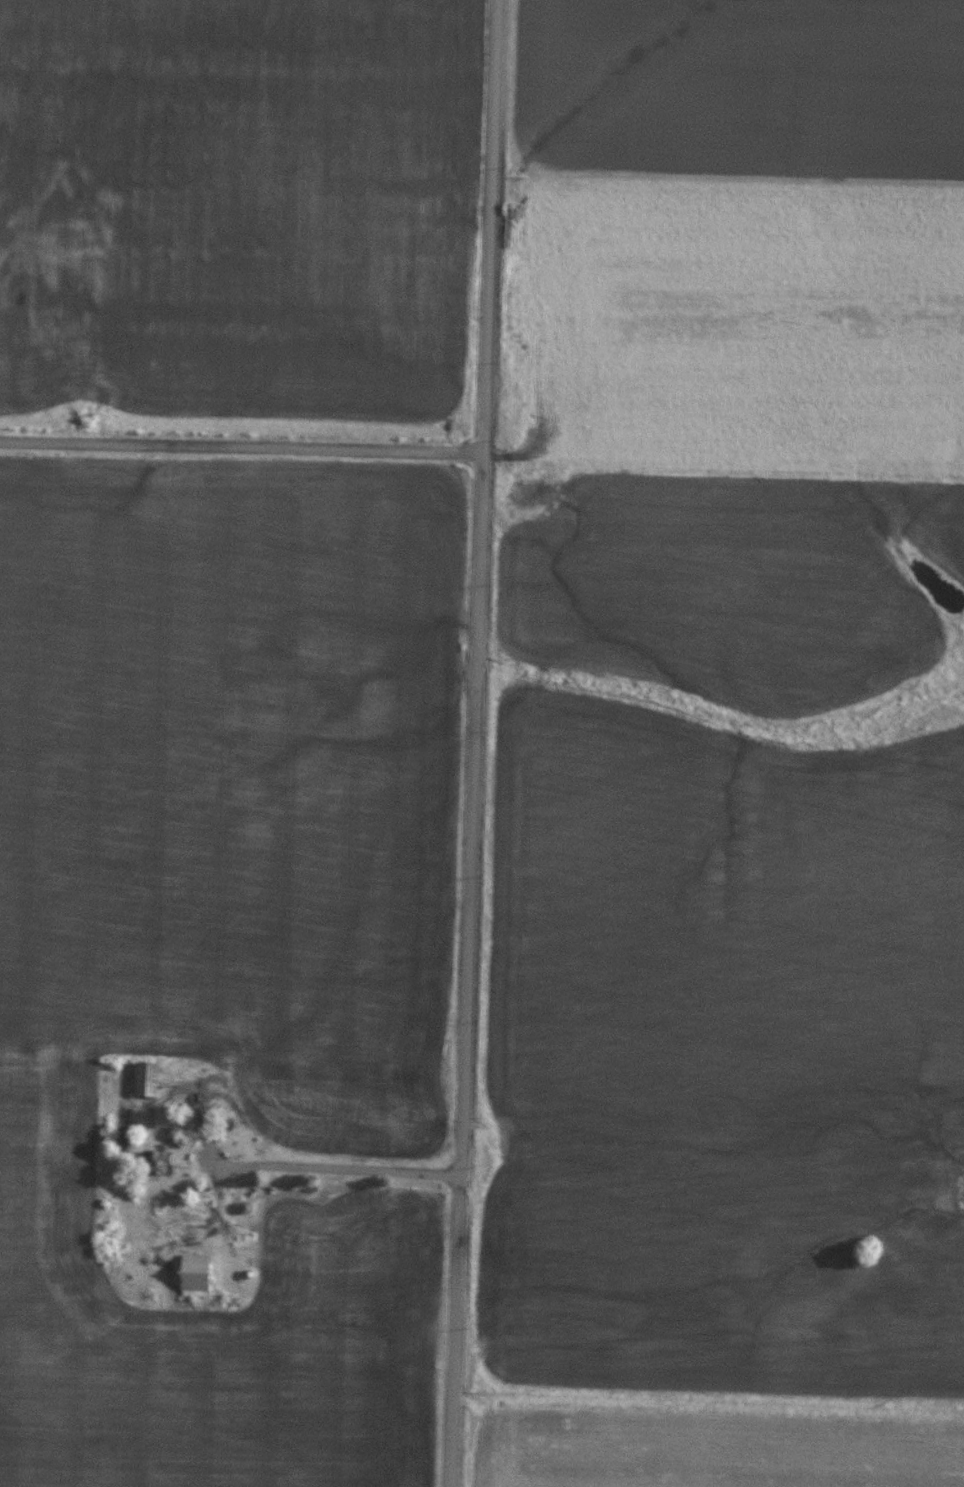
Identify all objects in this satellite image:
road: (242, 446)
road: (473, 743)
building: (146, 1077)
building: (162, 1116)
building: (157, 1161)
road: (307, 1167)
building: (194, 1273)

